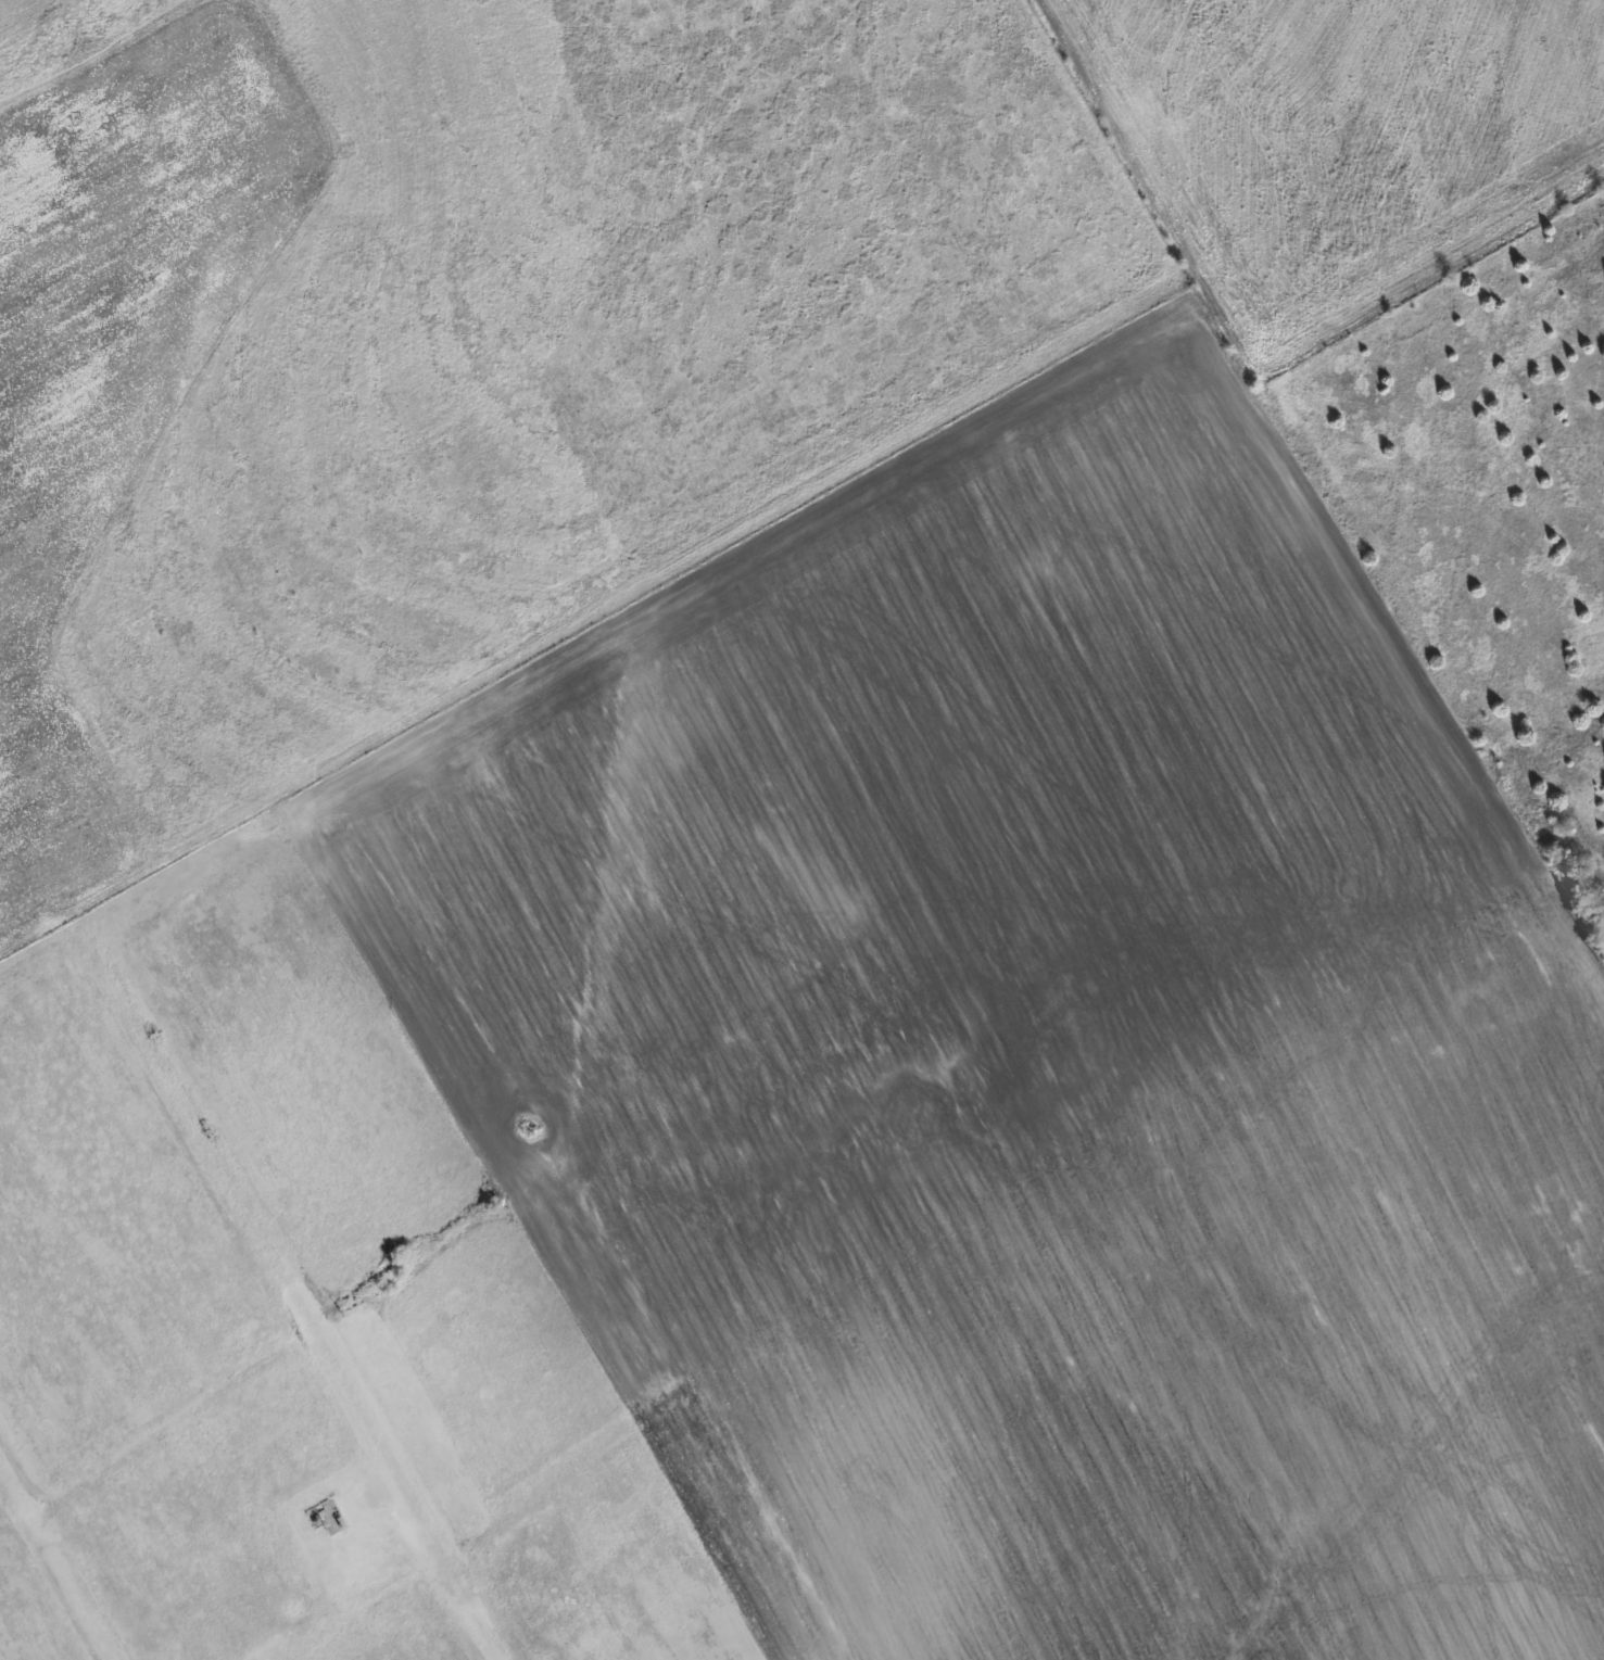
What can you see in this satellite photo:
road: (296, 1291)

